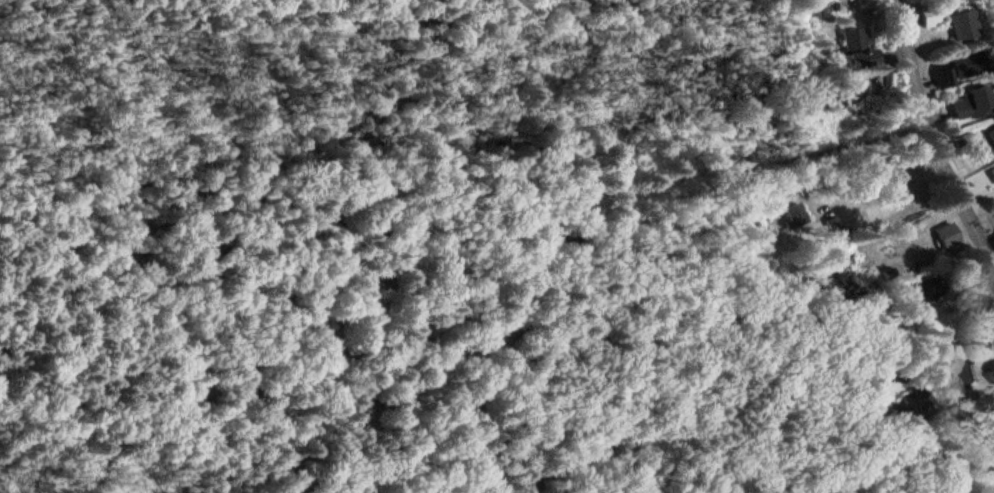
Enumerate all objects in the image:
building: (958, 28)
building: (942, 77)
building: (965, 110)
building: (988, 138)
road: (932, 143)

